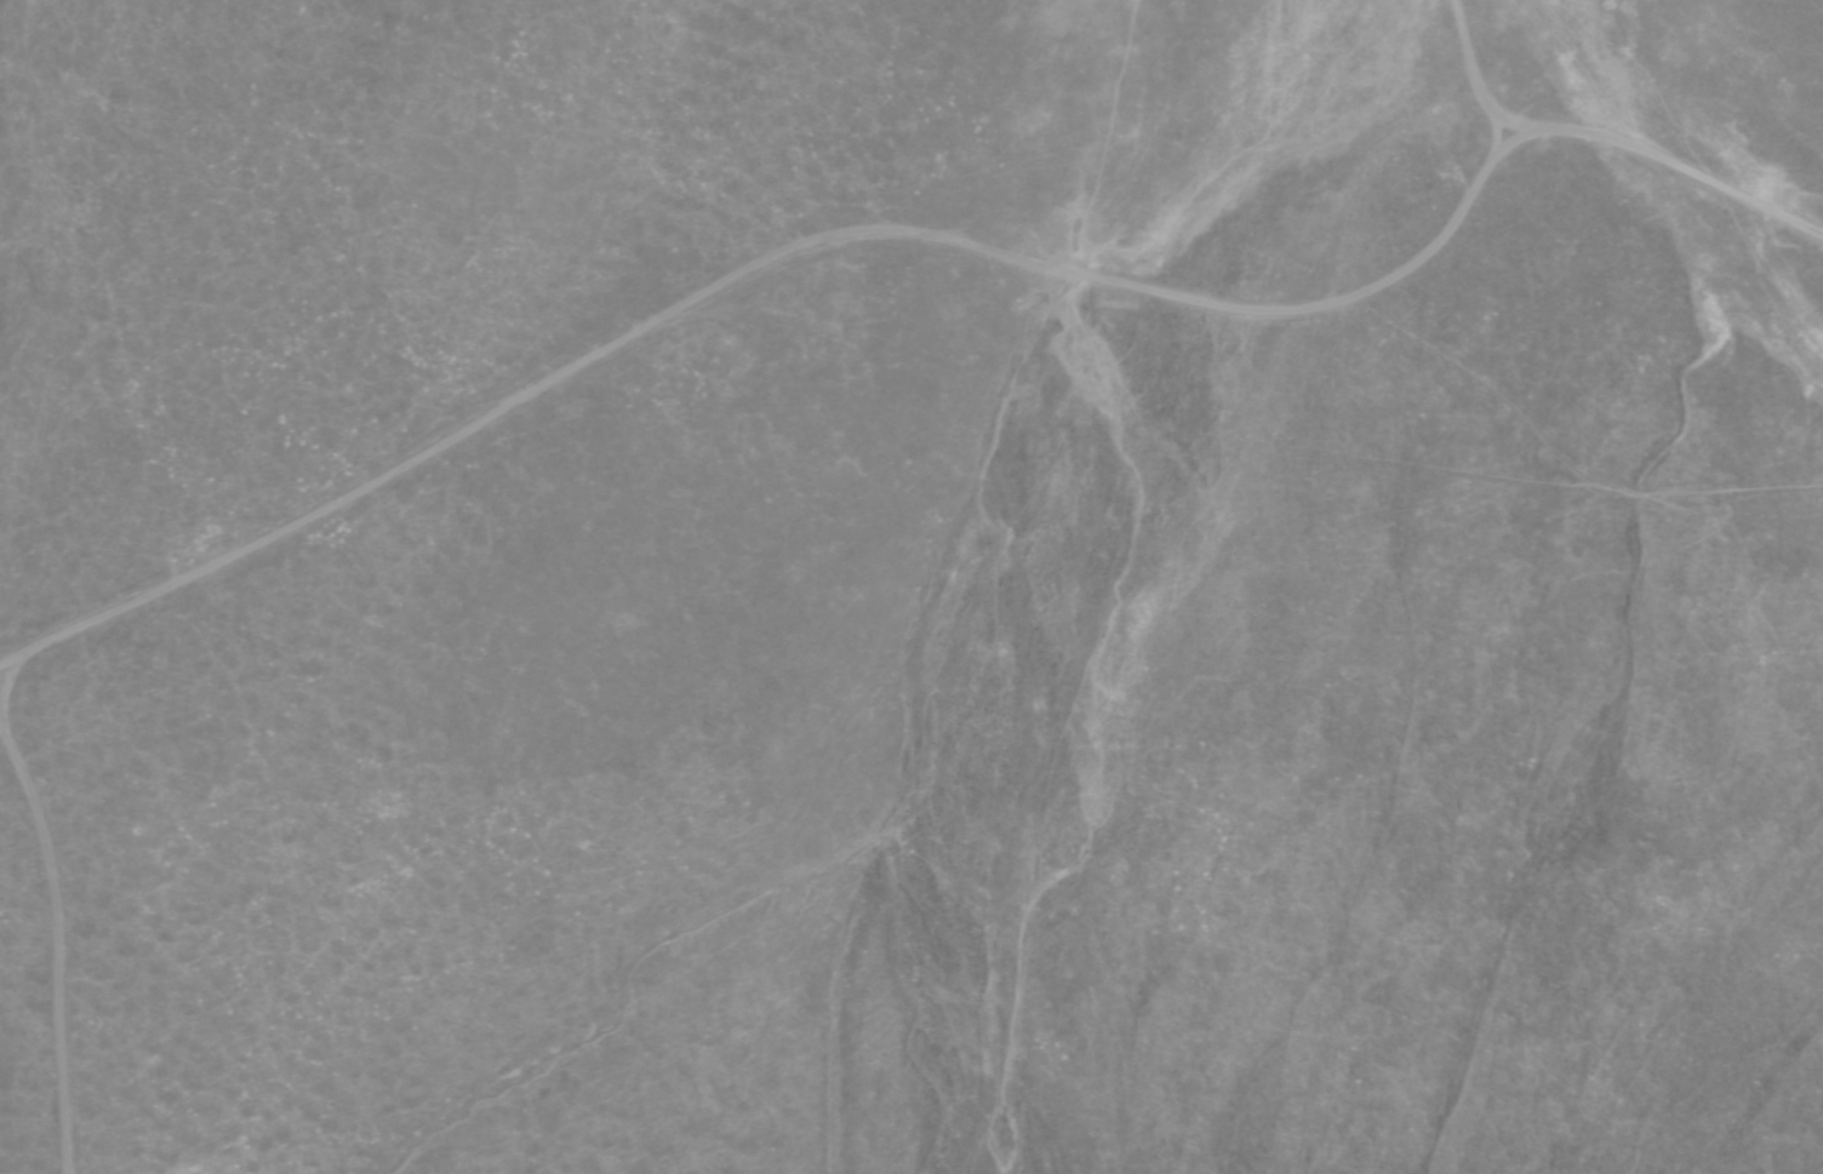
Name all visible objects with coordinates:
road: (913, 247)

